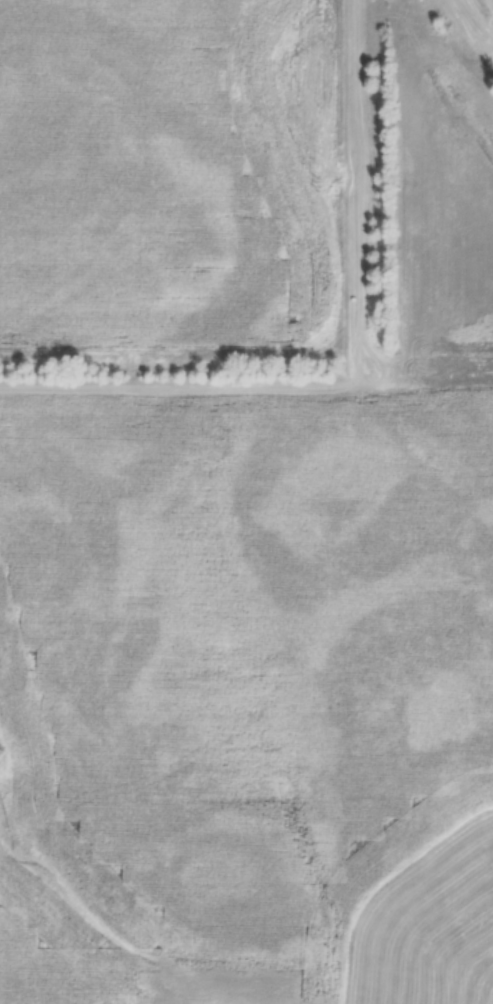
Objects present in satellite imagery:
crop: (170, 171)
crop: (258, 622)

